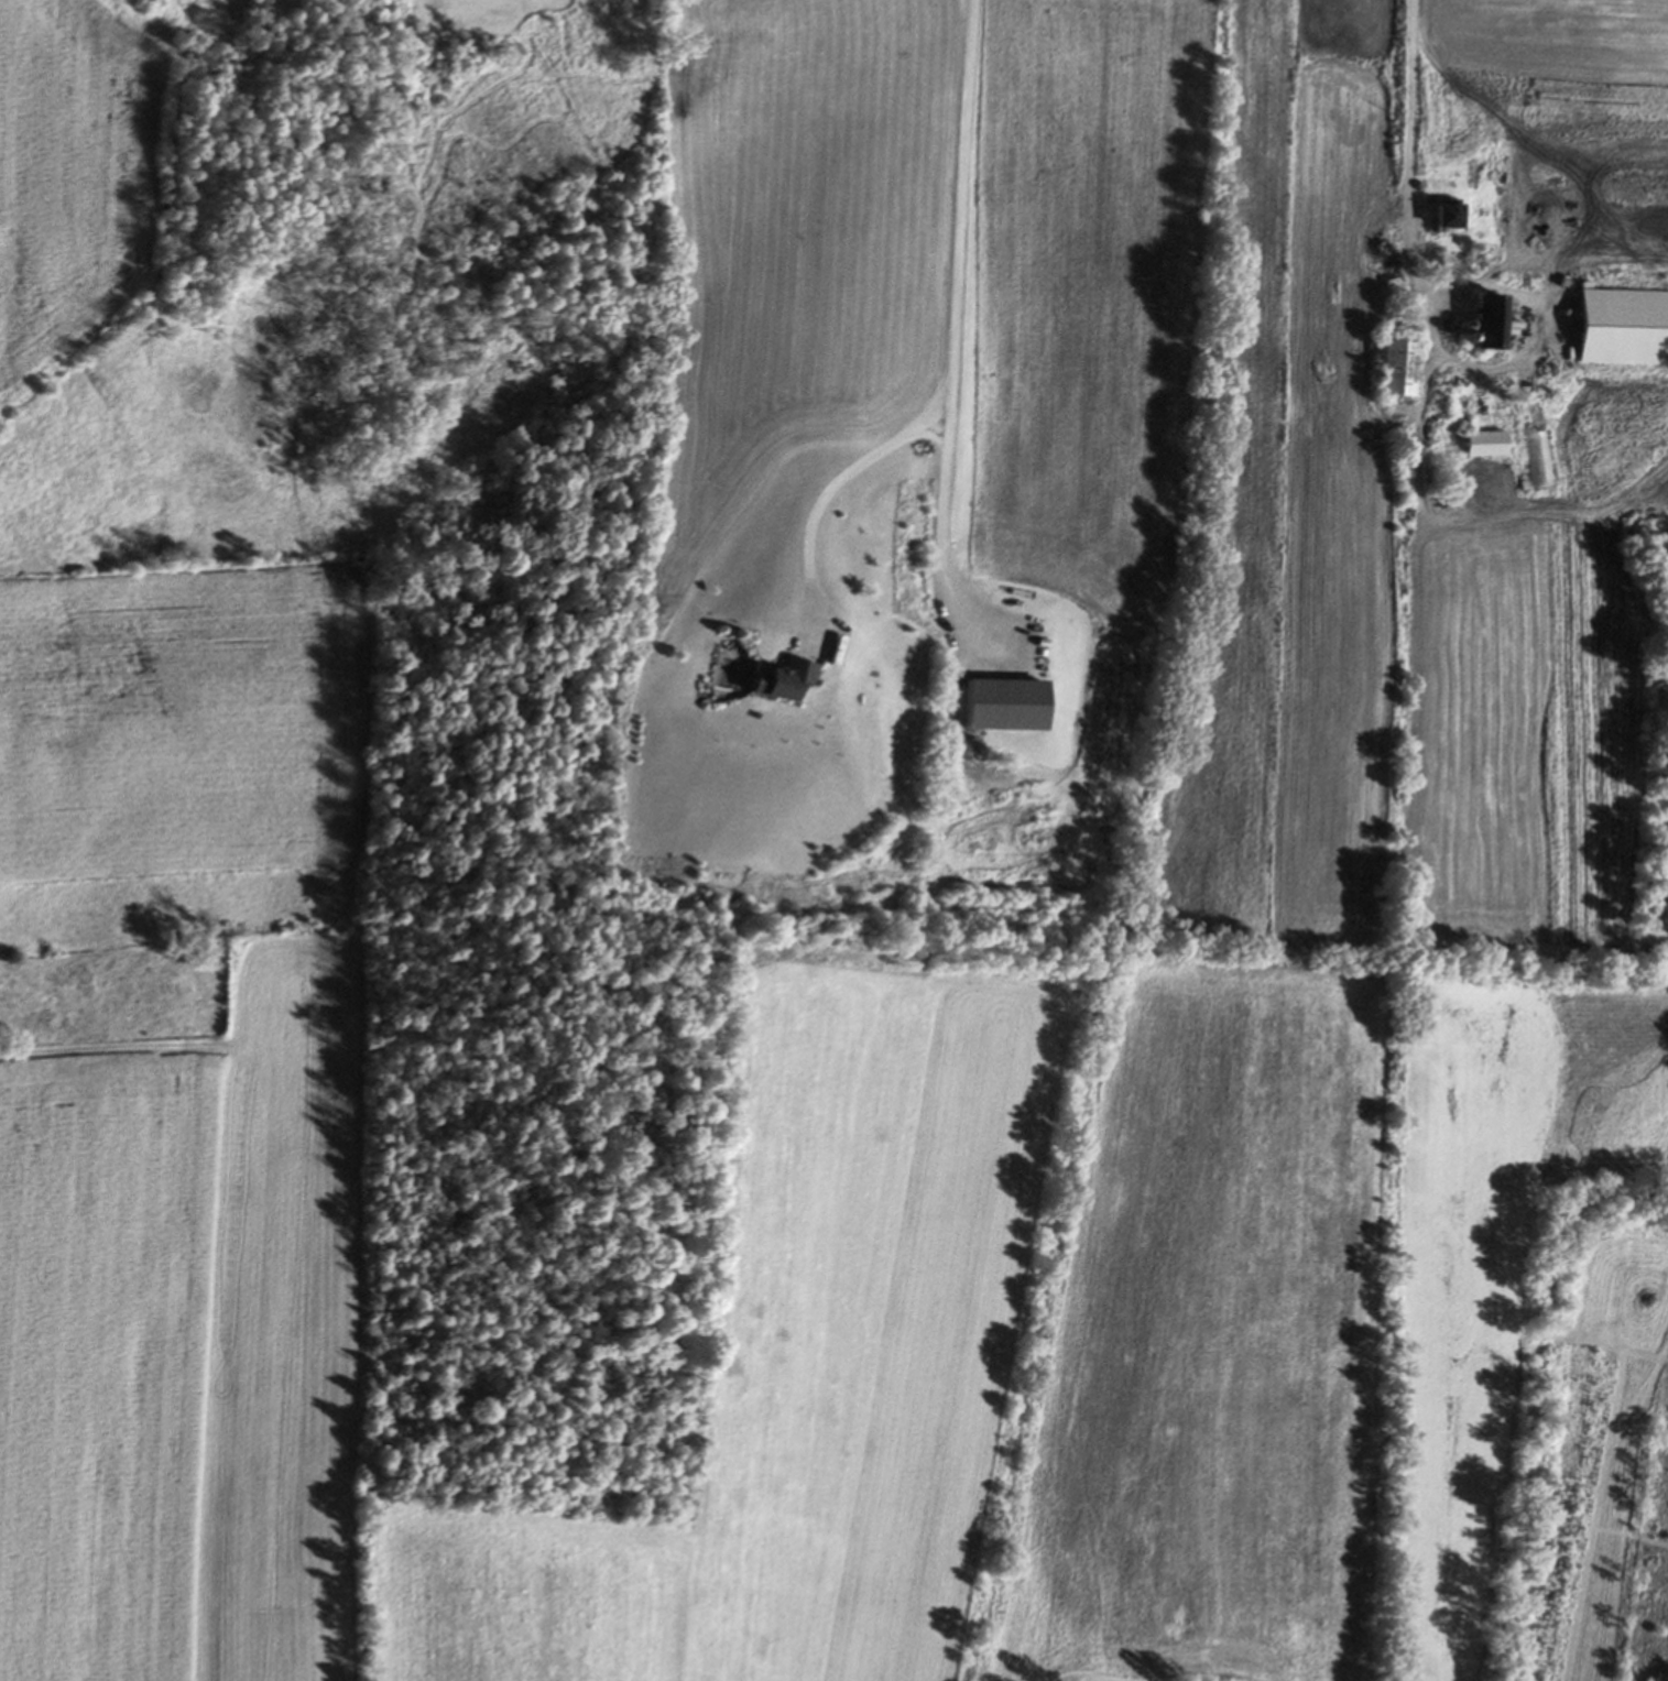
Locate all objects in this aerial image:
building: (1440, 218)
road: (1431, 296)
building: (1483, 324)
road: (1432, 327)
building: (1620, 328)
road: (945, 352)
building: (1392, 370)
building: (1481, 444)
road: (815, 498)
building: (772, 680)
building: (990, 703)

